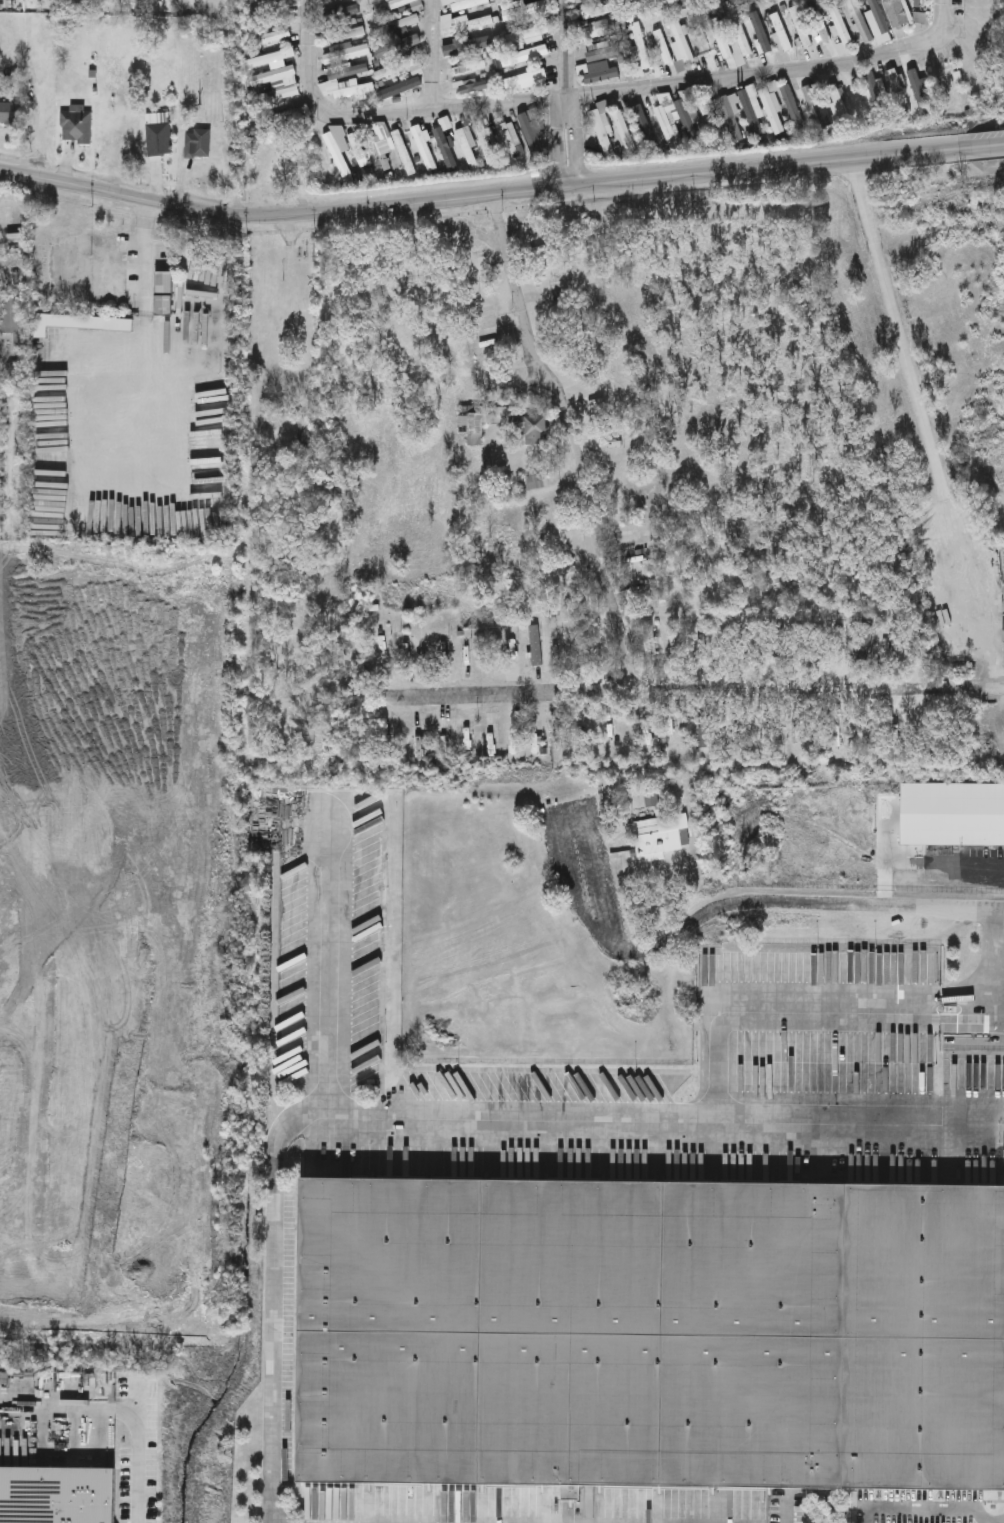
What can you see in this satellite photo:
building: (464, 3)
building: (393, 4)
building: (269, 10)
building: (526, 10)
building: (592, 12)
building: (897, 12)
building: (860, 21)
building: (463, 22)
building: (800, 27)
building: (821, 27)
building: (840, 29)
building: (604, 31)
building: (760, 32)
building: (780, 32)
building: (348, 33)
building: (740, 33)
road: (311, 38)
building: (723, 41)
building: (680, 44)
building: (466, 45)
building: (640, 45)
building: (399, 46)
building: (663, 47)
building: (602, 52)
building: (346, 53)
road: (434, 55)
building: (271, 57)
building: (508, 59)
building: (467, 67)
building: (394, 68)
building: (348, 70)
building: (601, 75)
building: (272, 76)
building: (523, 78)
building: (473, 85)
building: (953, 85)
building: (397, 88)
building: (352, 90)
building: (898, 91)
road: (569, 92)
road: (634, 92)
building: (276, 96)
building: (877, 97)
building: (839, 105)
building: (793, 108)
building: (815, 108)
building: (762, 109)
building: (10, 111)
building: (709, 116)
building: (535, 118)
building: (732, 118)
building: (77, 123)
building: (688, 123)
building: (644, 128)
building: (668, 128)
building: (603, 130)
building: (624, 131)
building: (159, 139)
building: (199, 141)
building: (444, 141)
building: (486, 143)
building: (423, 147)
building: (468, 147)
road: (986, 147)
building: (358, 150)
building: (336, 154)
building: (403, 154)
road: (482, 194)
road: (141, 289)
building: (551, 293)
building: (164, 294)
building: (11, 317)
building: (80, 321)
building: (470, 425)
building: (533, 425)
road: (924, 426)
road: (563, 441)
building: (535, 479)
building: (647, 635)
building: (775, 637)
building: (378, 642)
building: (533, 642)
building: (579, 647)
building: (605, 647)
road: (700, 690)
building: (643, 727)
building: (732, 728)
building: (702, 729)
building: (765, 731)
building: (532, 738)
building: (556, 738)
building: (419, 742)
building: (951, 814)
building: (656, 837)
road: (924, 860)
road: (729, 902)
road: (485, 1114)
building: (652, 1335)
road: (63, 1409)
road: (139, 1466)
building: (58, 1494)
road: (930, 1511)

